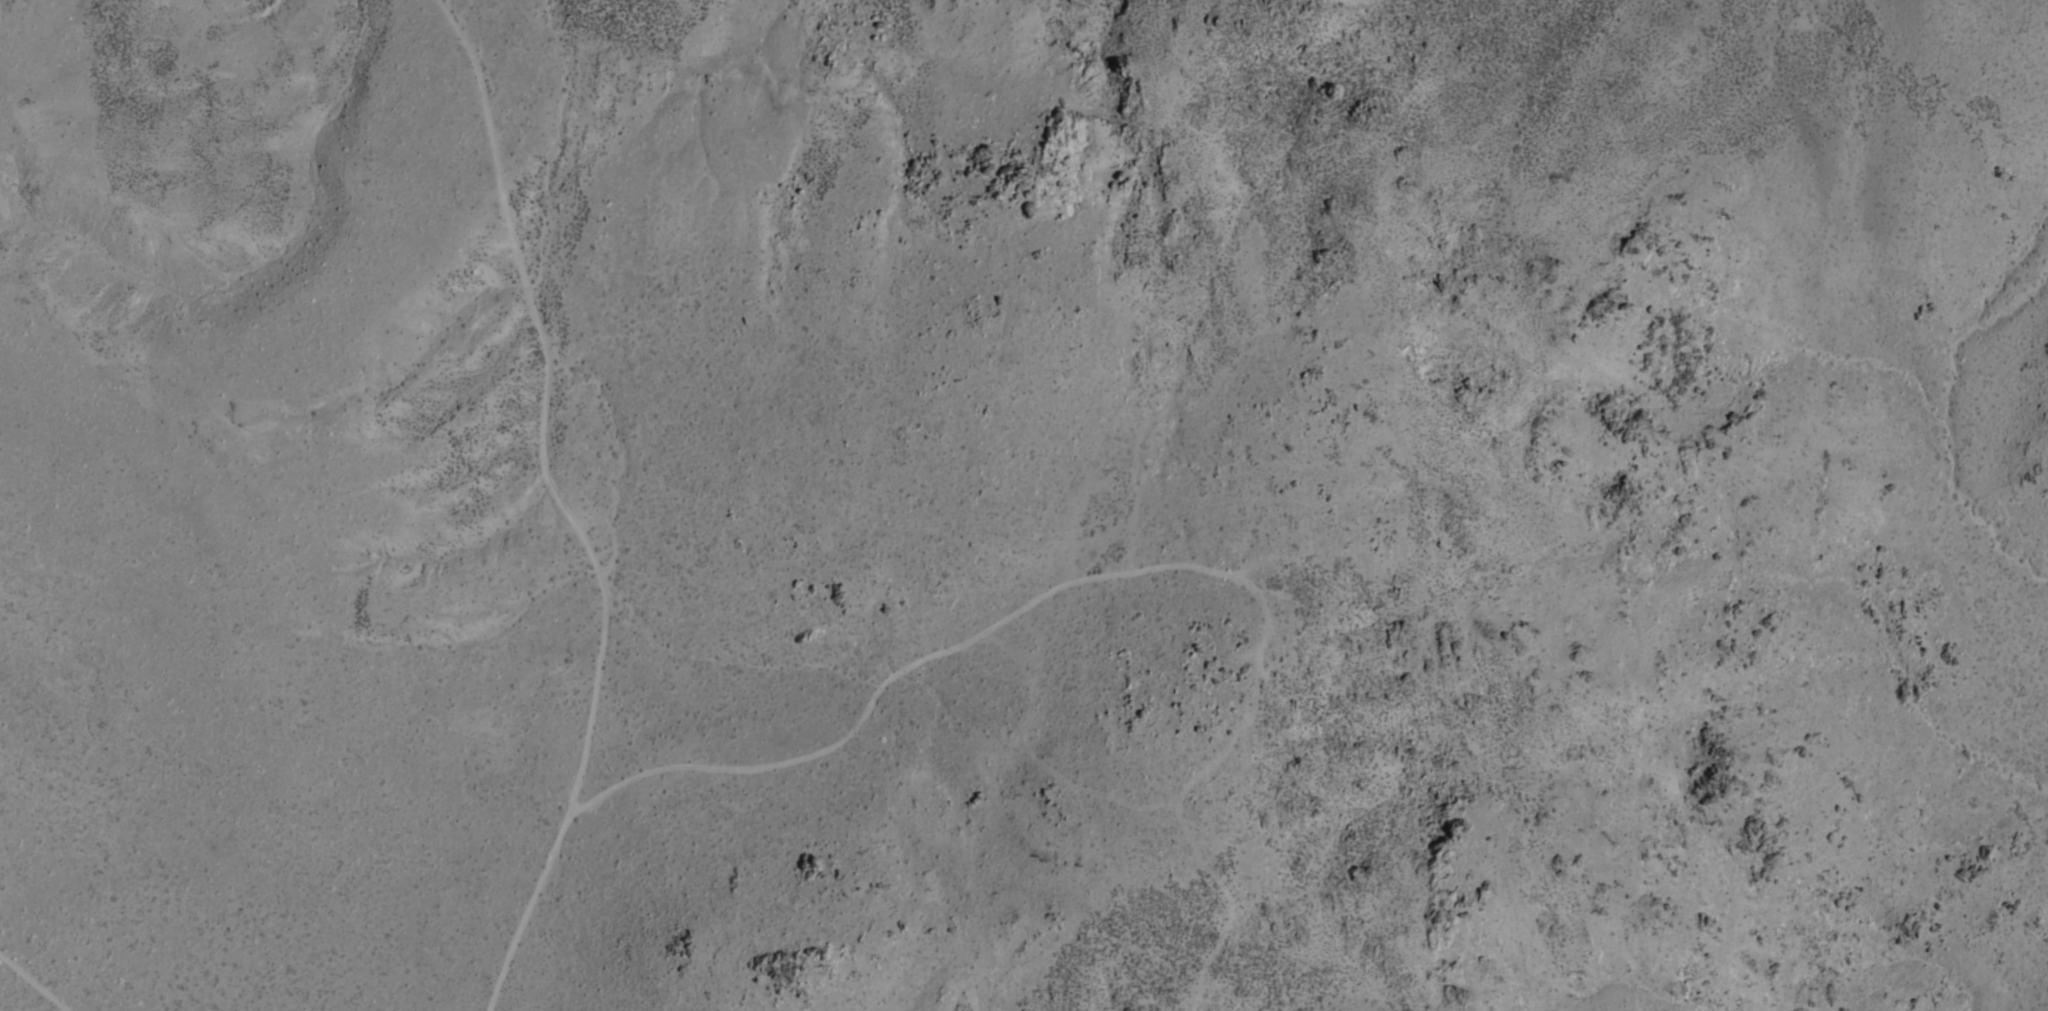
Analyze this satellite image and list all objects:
road: (565, 507)
road: (936, 648)
road: (32, 984)

